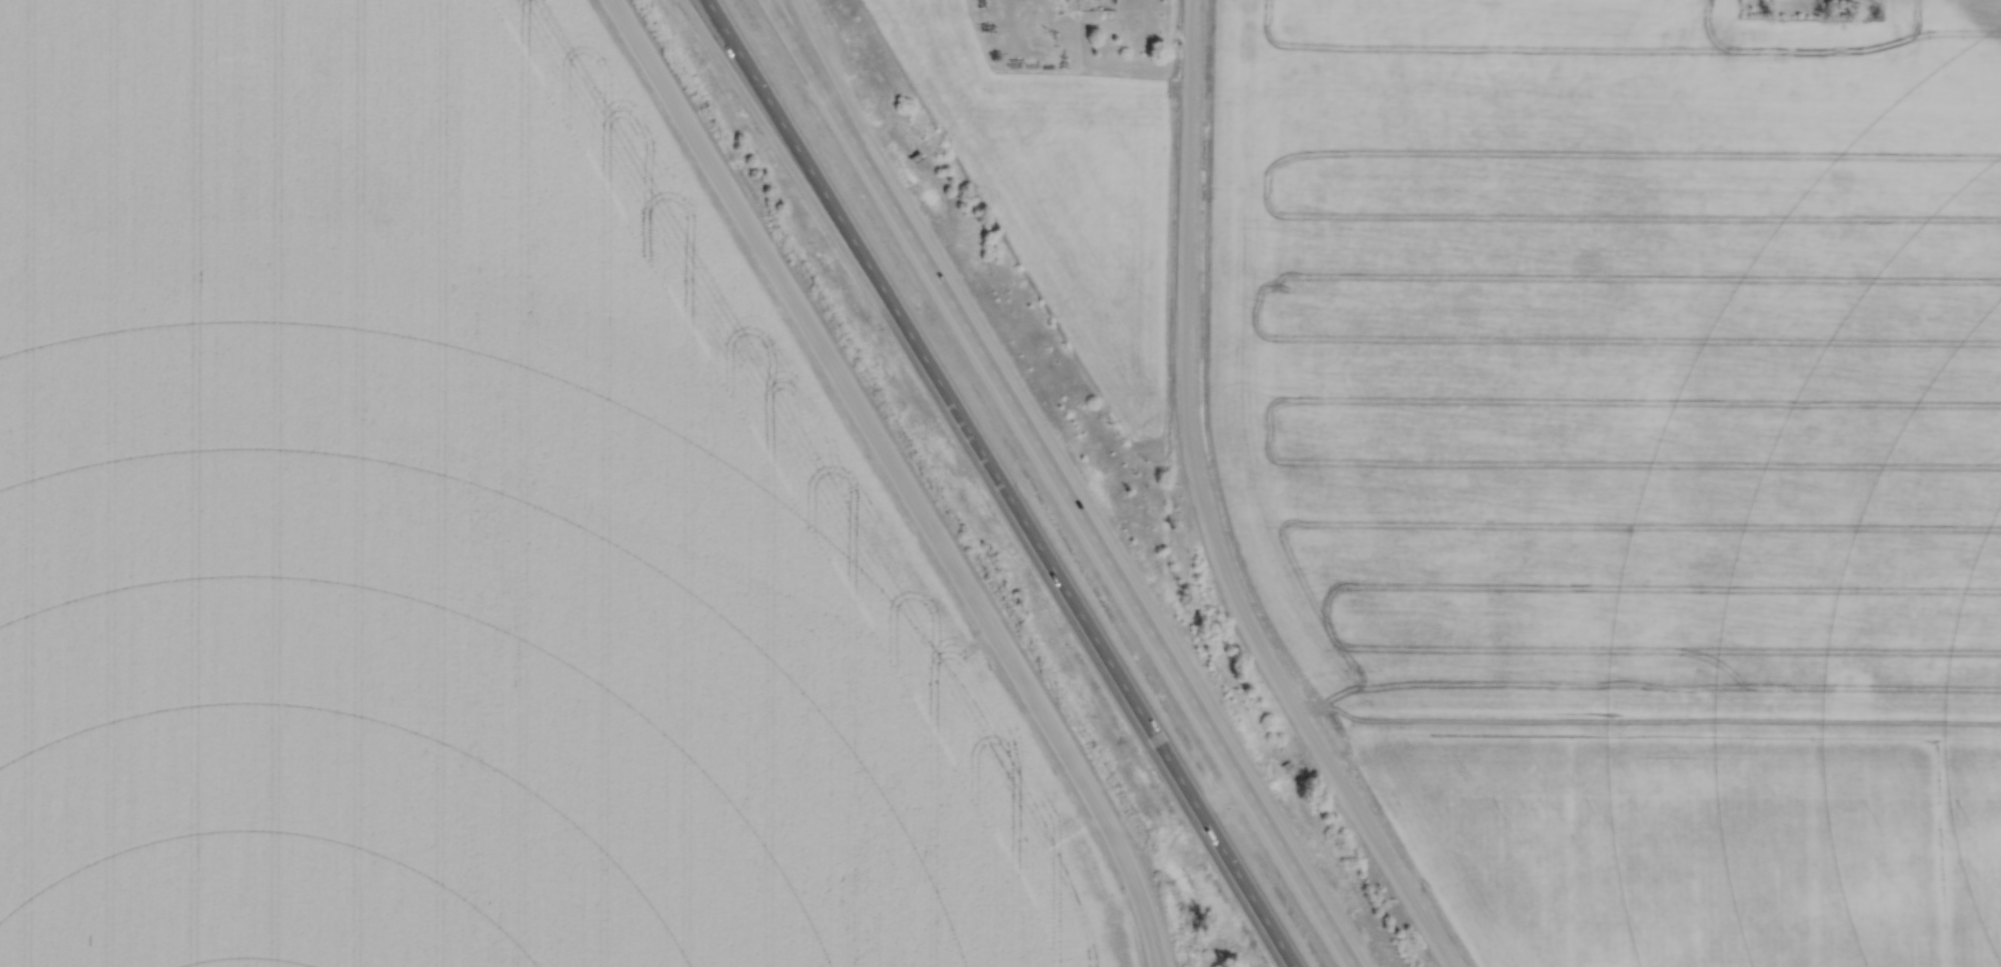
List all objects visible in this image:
road: (816, 73)
road: (1185, 398)
road: (901, 477)
road: (993, 482)
road: (1058, 483)
road: (1391, 865)

